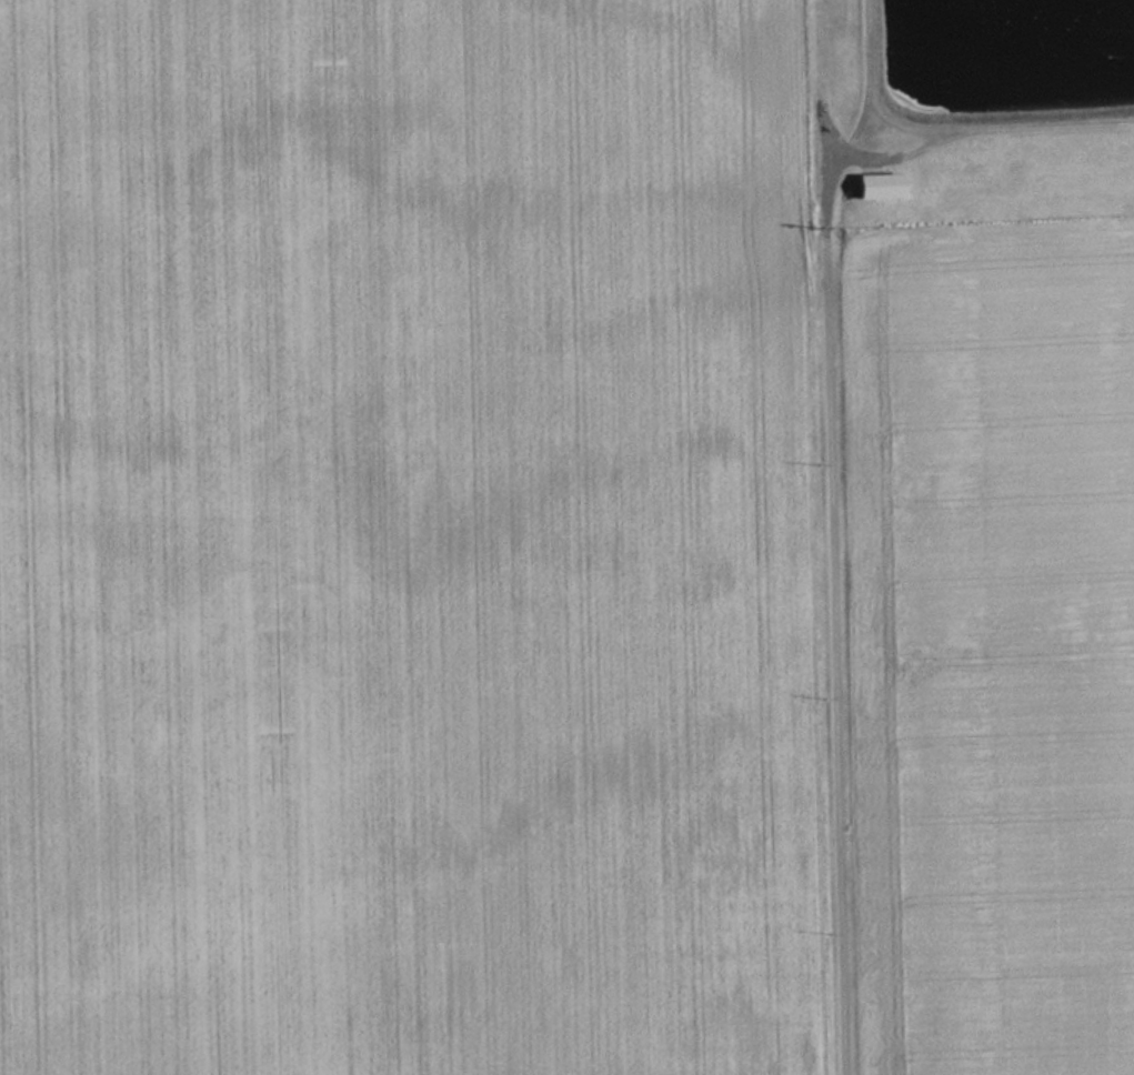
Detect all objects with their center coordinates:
building: (882, 185)

